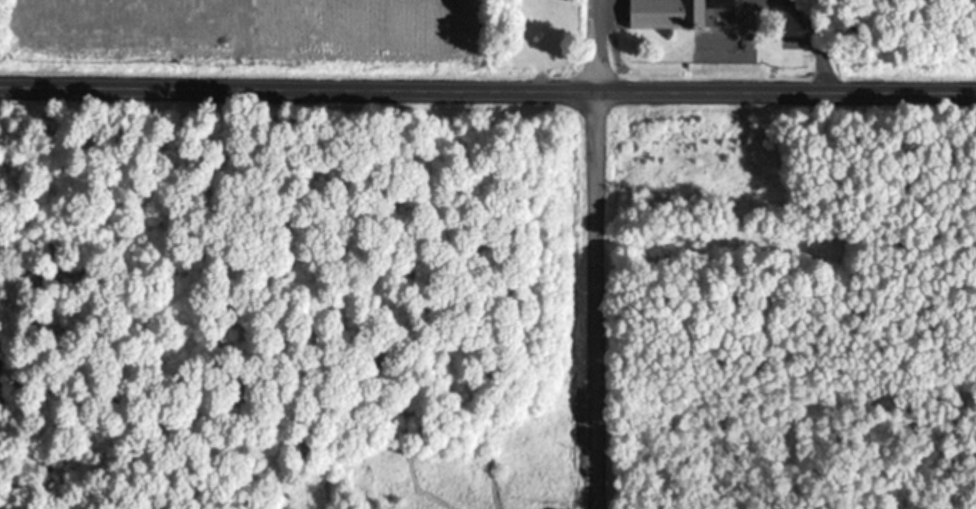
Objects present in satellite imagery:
building: (665, 13)
park: (532, 46)
road: (593, 47)
road: (487, 93)
road: (594, 301)

